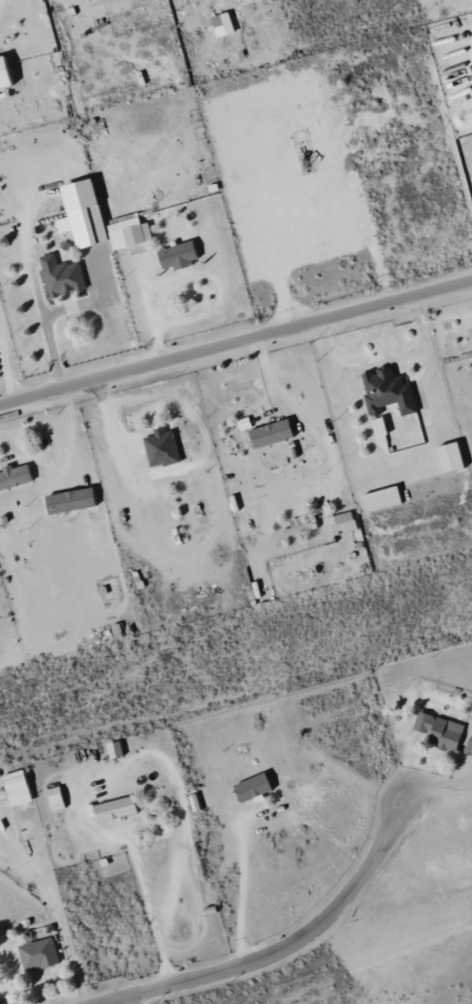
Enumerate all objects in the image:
building: (224, 25)
building: (8, 74)
petroleum well: (306, 154)
building: (102, 222)
building: (182, 256)
building: (63, 277)
road: (46, 327)
road: (235, 341)
building: (381, 384)
building: (383, 430)
building: (275, 434)
building: (163, 449)
building: (456, 458)
building: (17, 478)
building: (385, 500)
building: (345, 524)
building: (302, 527)
building: (437, 731)
building: (467, 748)
building: (112, 750)
building: (13, 788)
building: (52, 799)
building: (112, 809)
road: (56, 915)
road: (287, 946)
building: (36, 954)
road: (5, 1000)
road: (120, 1001)

